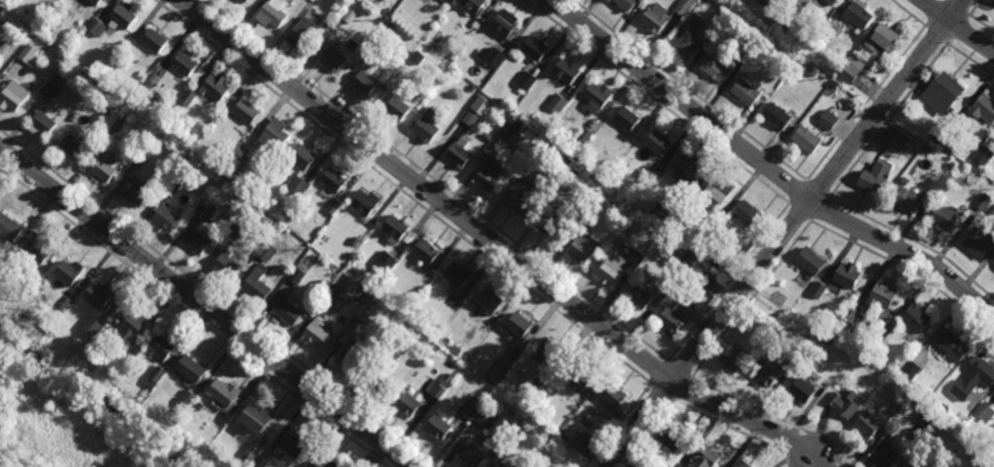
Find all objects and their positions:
building: (245, 1)
building: (94, 2)
building: (760, 2)
building: (830, 2)
building: (472, 5)
building: (625, 5)
building: (682, 6)
road: (958, 8)
road: (975, 8)
building: (794, 10)
building: (270, 13)
building: (855, 13)
road: (906, 13)
road: (933, 13)
building: (654, 18)
building: (120, 20)
building: (501, 23)
building: (11, 24)
road: (981, 24)
building: (780, 26)
road: (956, 26)
building: (97, 27)
road: (957, 29)
building: (828, 30)
building: (302, 33)
building: (709, 35)
road: (934, 35)
building: (879, 39)
building: (153, 42)
building: (352, 46)
building: (683, 46)
building: (533, 50)
building: (744, 53)
building: (28, 54)
building: (423, 56)
building: (491, 57)
road: (970, 59)
building: (332, 61)
building: (183, 66)
building: (714, 69)
building: (850, 69)
building: (566, 72)
building: (814, 72)
building: (140, 75)
building: (153, 80)
building: (526, 82)
building: (363, 83)
building: (148, 85)
building: (215, 88)
building: (472, 88)
road: (688, 90)
building: (50, 92)
building: (941, 93)
building: (743, 94)
building: (187, 97)
building: (12, 98)
building: (595, 98)
road: (657, 101)
building: (557, 103)
road: (864, 103)
building: (481, 106)
building: (983, 108)
building: (245, 112)
building: (396, 113)
building: (73, 117)
building: (775, 117)
building: (470, 118)
building: (625, 120)
building: (827, 120)
road: (888, 120)
building: (118, 123)
building: (950, 124)
building: (44, 125)
building: (514, 127)
building: (425, 128)
building: (274, 135)
building: (537, 136)
building: (486, 137)
building: (583, 137)
building: (531, 139)
building: (804, 140)
building: (897, 141)
building: (656, 145)
building: (542, 147)
building: (72, 149)
building: (927, 150)
building: (573, 152)
building: (457, 153)
building: (583, 155)
building: (984, 155)
building: (141, 157)
building: (303, 157)
building: (539, 160)
building: (220, 166)
road: (765, 167)
building: (687, 169)
building: (104, 170)
building: (233, 171)
building: (530, 172)
building: (653, 176)
building: (488, 177)
building: (331, 180)
road: (434, 180)
building: (872, 180)
building: (904, 180)
building: (567, 181)
building: (173, 184)
building: (297, 186)
road: (817, 189)
building: (133, 191)
road: (797, 192)
road: (403, 193)
building: (718, 193)
building: (907, 201)
building: (983, 201)
building: (362, 202)
building: (599, 204)
building: (519, 205)
building: (334, 206)
road: (821, 208)
building: (205, 209)
road: (801, 211)
building: (589, 216)
building: (747, 216)
building: (166, 219)
building: (666, 220)
building: (711, 220)
building: (942, 221)
building: (551, 225)
building: (722, 227)
building: (8, 229)
building: (395, 229)
building: (234, 231)
road: (784, 233)
building: (354, 241)
road: (915, 241)
building: (196, 244)
road: (496, 245)
building: (979, 247)
building: (582, 248)
building: (34, 252)
building: (267, 252)
building: (425, 252)
building: (636, 261)
building: (384, 264)
building: (810, 264)
building: (225, 265)
road: (908, 270)
building: (608, 273)
building: (65, 274)
building: (36, 276)
building: (296, 276)
building: (458, 277)
building: (847, 277)
building: (705, 280)
road: (729, 282)
building: (669, 283)
building: (254, 284)
building: (420, 284)
building: (331, 288)
building: (818, 288)
building: (95, 296)
building: (880, 298)
road: (216, 299)
building: (328, 299)
building: (638, 300)
road: (752, 300)
building: (63, 302)
building: (489, 304)
road: (205, 307)
building: (286, 313)
building: (772, 315)
building: (853, 315)
road: (194, 317)
building: (915, 319)
building: (671, 320)
building: (357, 321)
building: (91, 326)
building: (518, 326)
building: (129, 328)
building: (883, 331)
building: (315, 337)
building: (827, 339)
building: (950, 346)
building: (161, 348)
building: (127, 354)
building: (549, 354)
building: (389, 358)
building: (794, 359)
building: (732, 361)
building: (348, 362)
building: (497, 369)
building: (910, 369)
building: (189, 370)
road: (680, 370)
road: (660, 373)
building: (580, 374)
building: (155, 376)
building: (765, 376)
building: (972, 380)
building: (379, 386)
building: (538, 387)
road: (683, 388)
building: (438, 391)
building: (801, 391)
building: (221, 392)
building: (925, 393)
road: (662, 394)
building: (611, 395)
building: (188, 397)
building: (482, 397)
building: (937, 400)
building: (200, 405)
building: (406, 405)
building: (471, 406)
building: (847, 406)
building: (899, 406)
building: (181, 409)
building: (985, 411)
road: (775, 417)
building: (487, 418)
building: (927, 419)
building: (253, 420)
road: (621, 426)
building: (867, 426)
building: (436, 429)
road: (648, 431)
road: (734, 431)
building: (669, 440)
building: (580, 442)
building: (291, 445)
building: (991, 448)
building: (253, 449)
building: (505, 449)
building: (883, 454)
building: (472, 457)
building: (705, 458)
building: (245, 461)
building: (259, 462)
building: (324, 463)
building: (678, 465)
building: (741, 465)
building: (913, 465)
building: (501, 466)
building: (537, 466)

